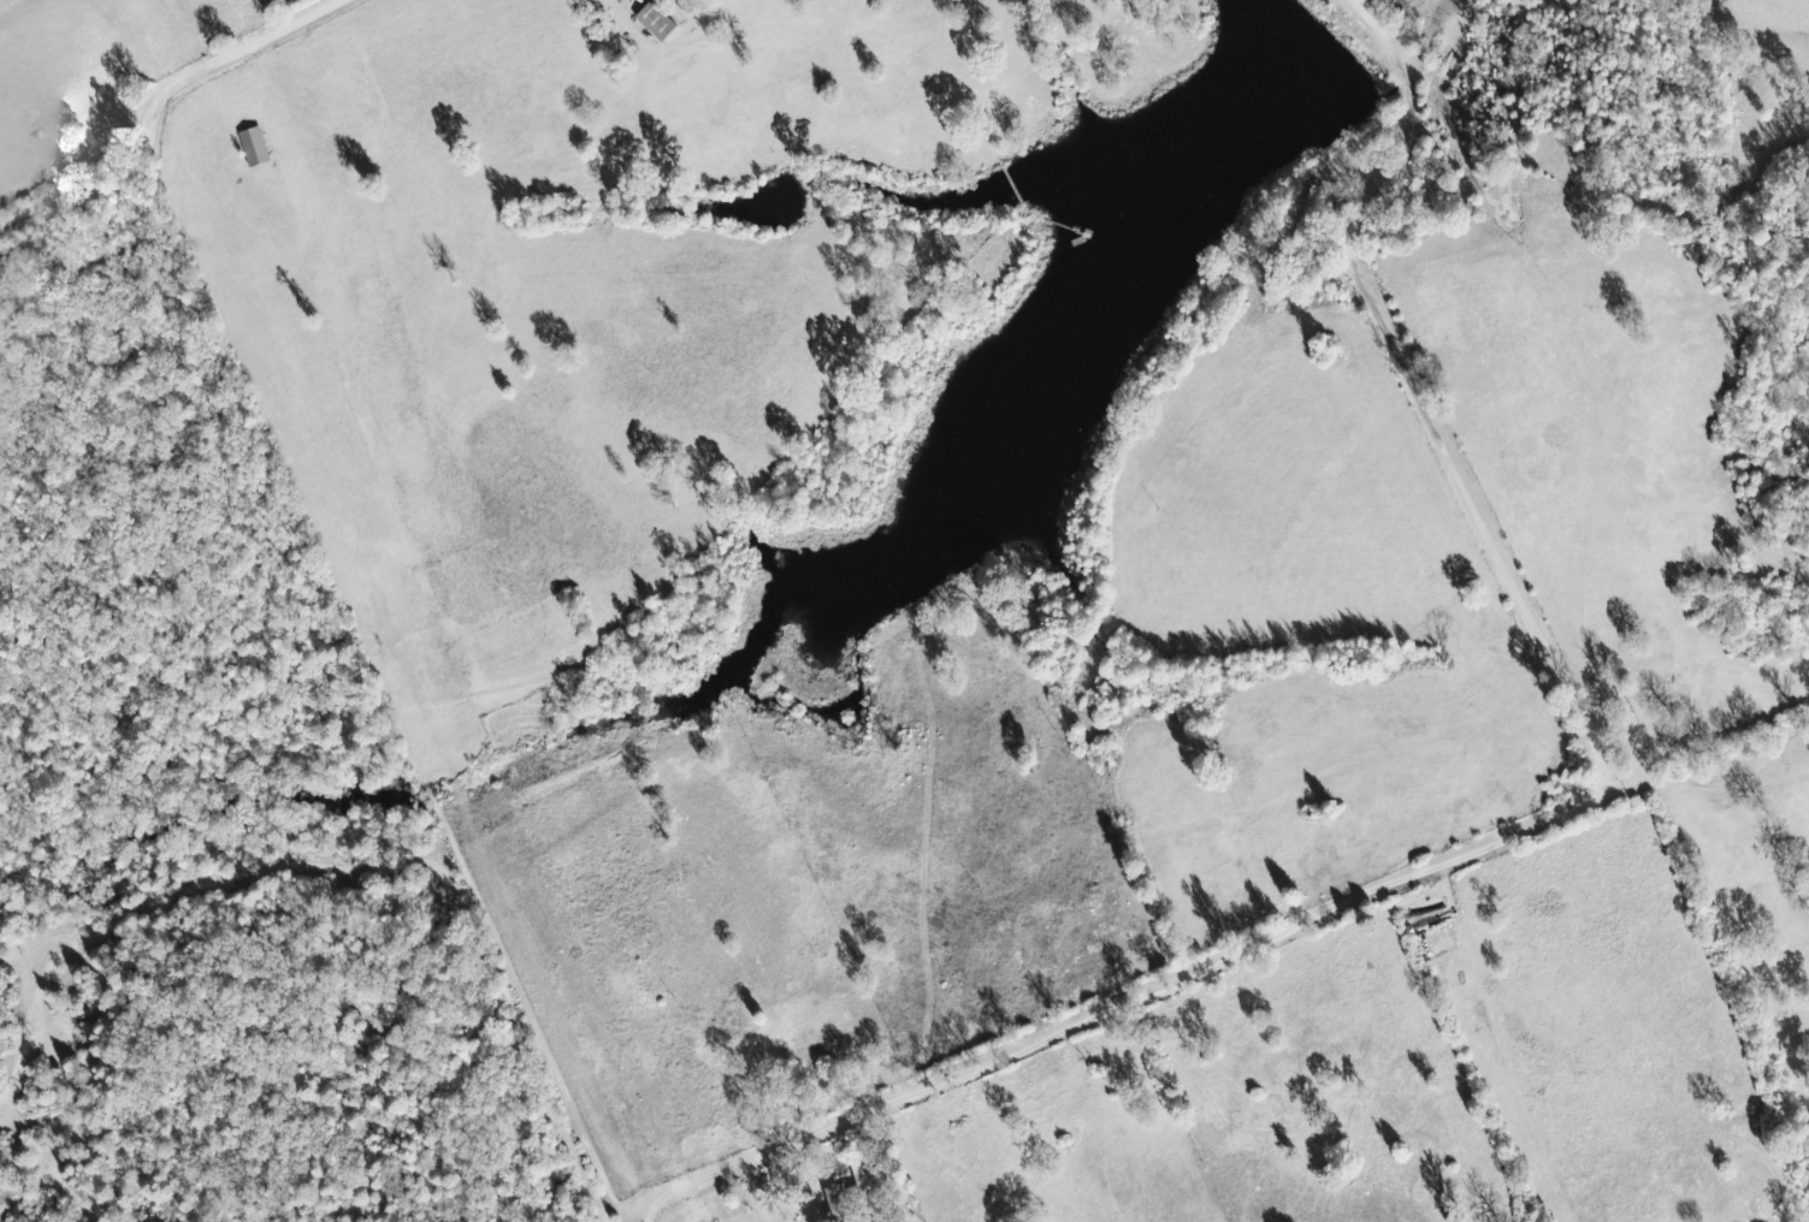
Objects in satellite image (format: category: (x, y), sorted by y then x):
building: (658, 22)
road: (154, 106)
building: (255, 148)
road: (1583, 808)

